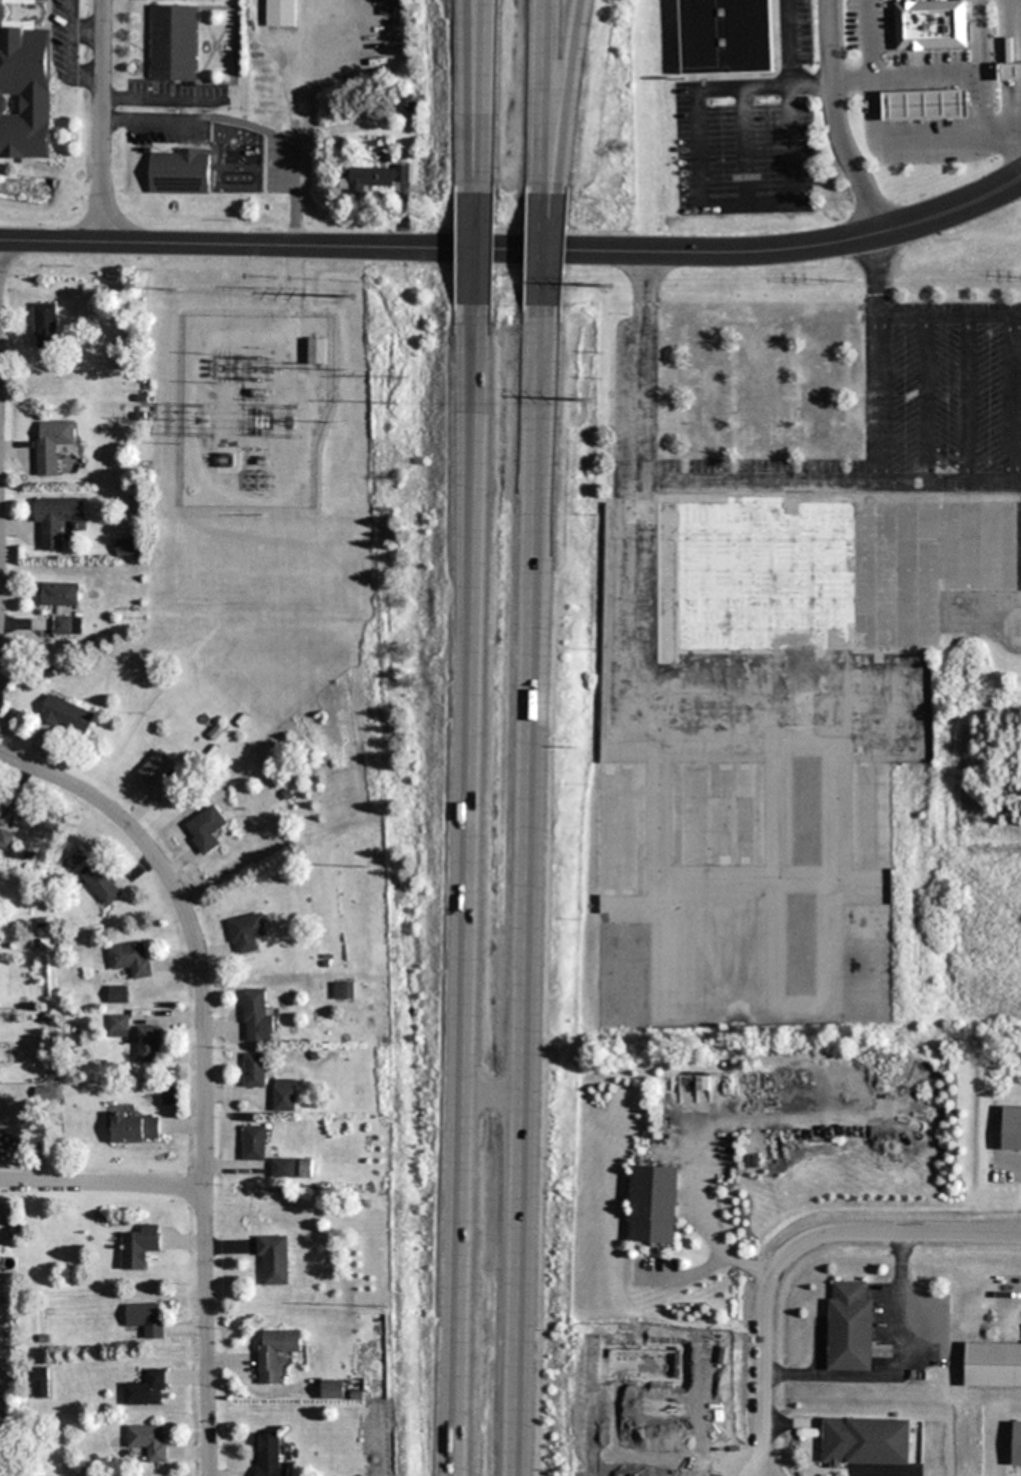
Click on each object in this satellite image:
building: (281, 13)
building: (929, 24)
building: (726, 35)
road: (787, 42)
building: (172, 43)
building: (1010, 71)
road: (900, 82)
road: (810, 84)
building: (24, 93)
road: (553, 103)
road: (565, 103)
building: (406, 104)
building: (926, 104)
road: (476, 105)
road: (485, 105)
road: (100, 120)
road: (836, 120)
road: (1013, 132)
road: (872, 138)
road: (745, 146)
road: (1013, 151)
building: (179, 171)
building: (373, 178)
road: (702, 205)
road: (516, 252)
road: (482, 253)
road: (551, 258)
power tower: (178, 288)
power tower: (261, 288)
power tower: (349, 296)
road: (950, 312)
building: (45, 325)
building: (316, 351)
power tower: (255, 353)
power tower: (267, 368)
power tower: (353, 371)
power substation: (252, 407)
power tower: (174, 420)
power tower: (194, 421)
power tower: (290, 421)
power tower: (344, 423)
building: (52, 444)
road: (771, 480)
building: (57, 518)
building: (817, 573)
building: (59, 594)
building: (67, 625)
building: (66, 715)
building: (156, 773)
building: (805, 812)
building: (717, 815)
building: (871, 815)
building: (3, 817)
building: (204, 829)
building: (622, 830)
power tower: (376, 867)
building: (100, 882)
road: (468, 886)
road: (536, 893)
building: (246, 932)
building: (799, 944)
building: (130, 959)
building: (867, 964)
building: (624, 976)
building: (342, 991)
building: (117, 993)
building: (255, 1016)
building: (136, 1037)
road: (203, 1067)
building: (253, 1070)
building: (284, 1094)
building: (168, 1096)
road: (497, 1102)
building: (135, 1127)
building: (1011, 1129)
building: (254, 1142)
building: (305, 1167)
building: (282, 1168)
road: (102, 1185)
building: (653, 1205)
building: (139, 1247)
road: (790, 1247)
building: (273, 1260)
building: (145, 1318)
building: (849, 1327)
building: (274, 1352)
building: (992, 1365)
building: (40, 1382)
building: (145, 1389)
building: (332, 1389)
building: (148, 1441)
building: (865, 1441)
building: (1016, 1444)
building: (269, 1456)

